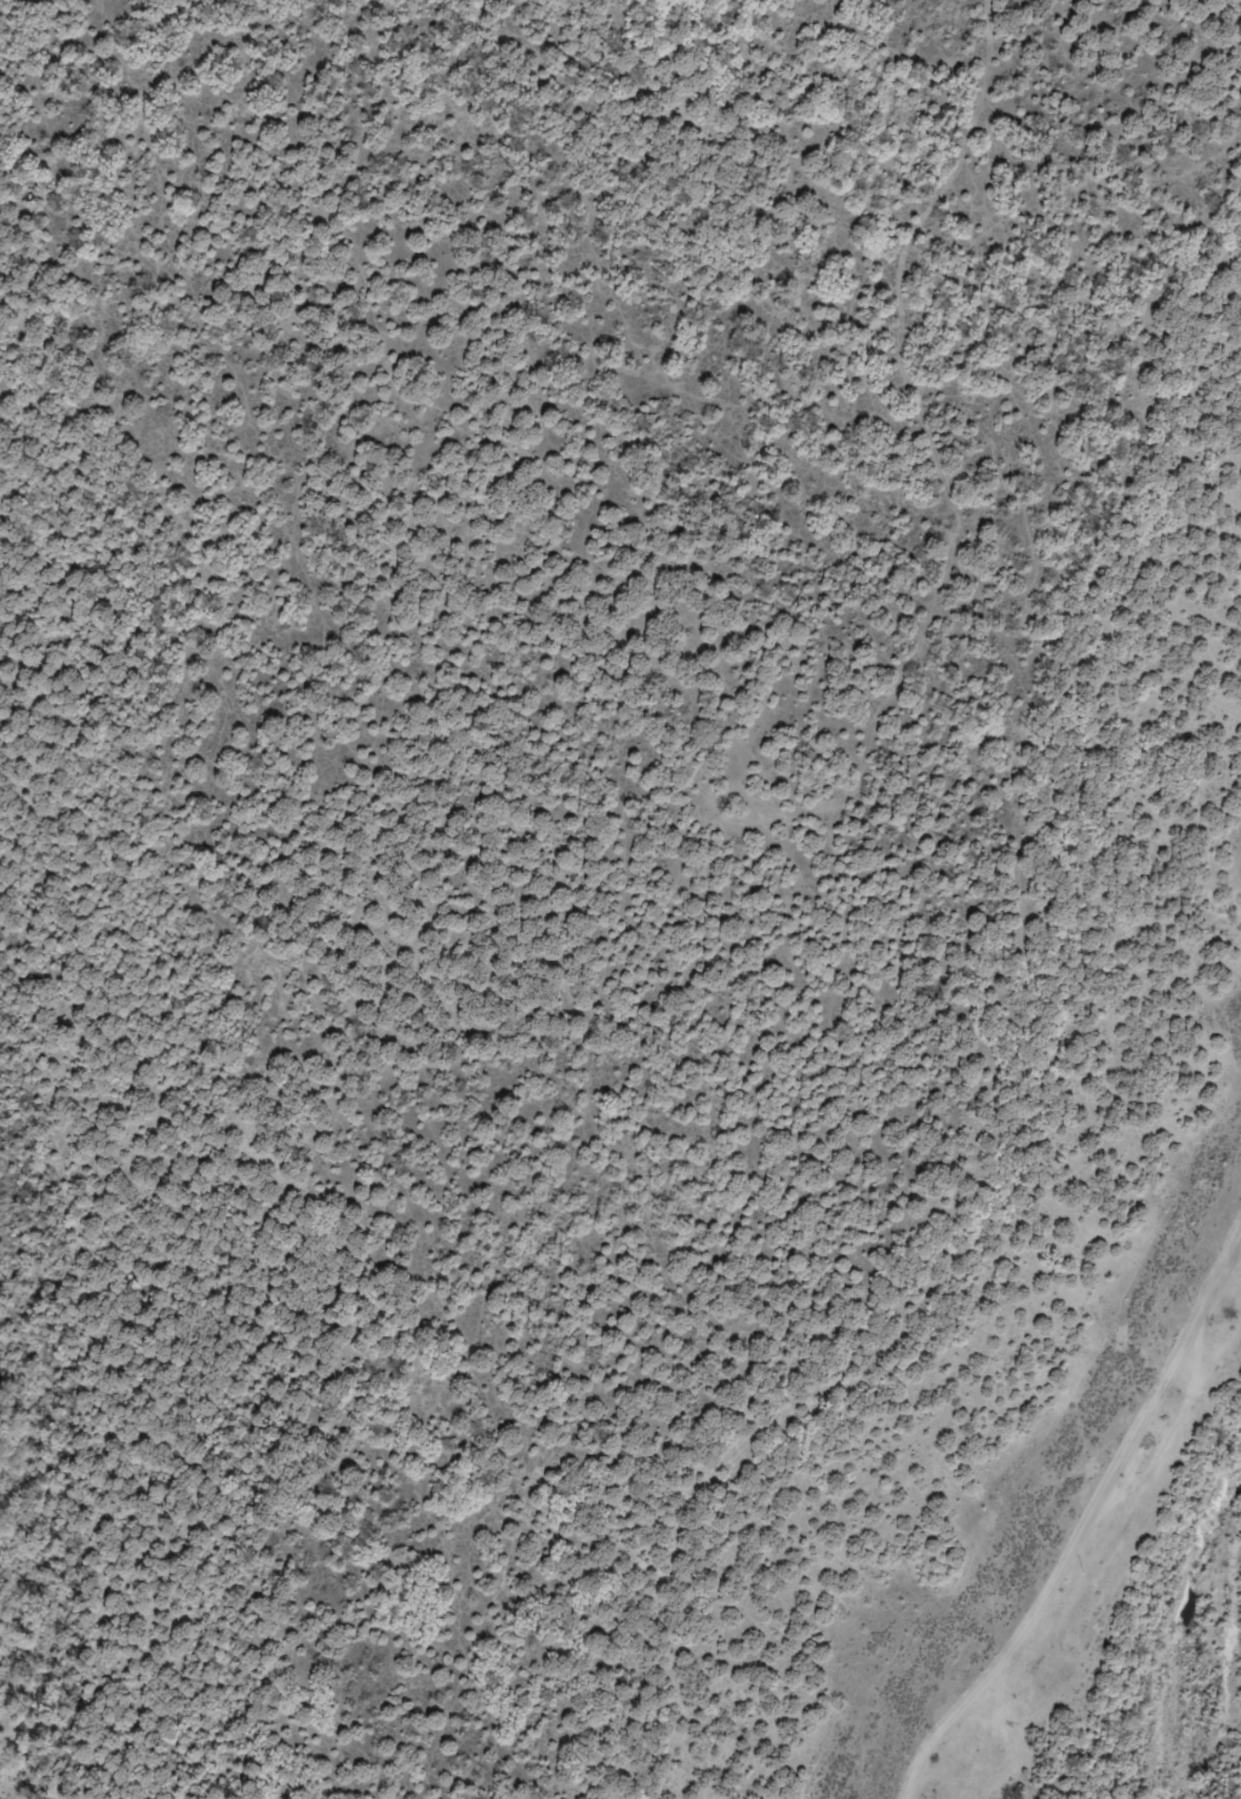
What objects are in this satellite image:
road: (1138, 1612)

